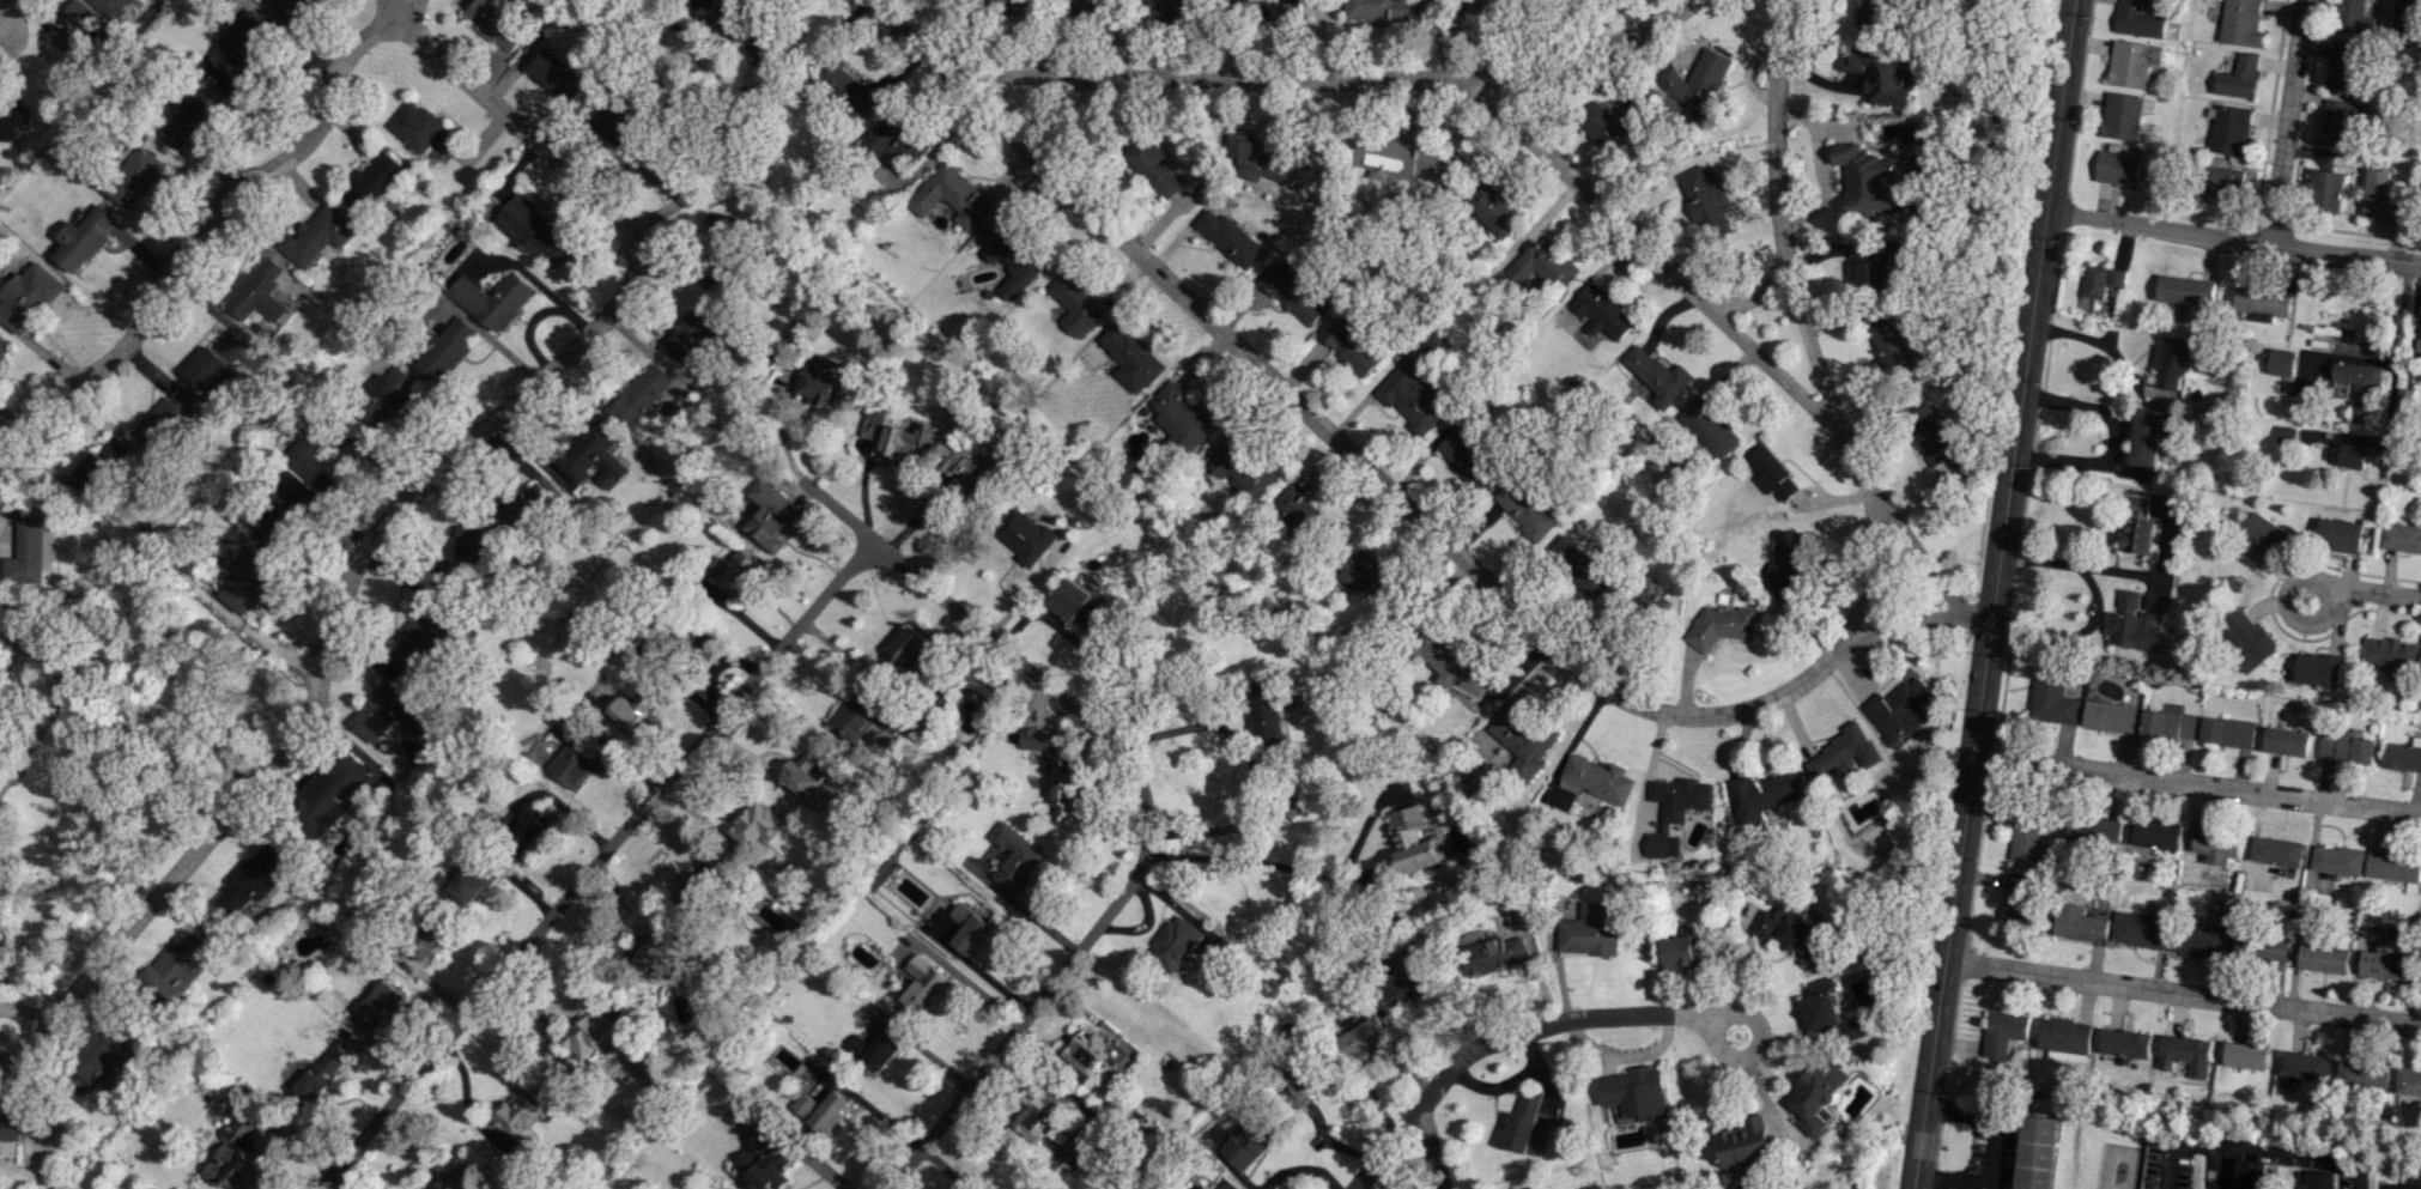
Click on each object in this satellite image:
road: (872, 2)
building: (1491, 4)
building: (1090, 5)
building: (1024, 6)
building: (111, 7)
building: (291, 7)
building: (1275, 8)
building: (1381, 8)
building: (1176, 10)
road: (10, 12)
building: (733, 14)
building: (2356, 16)
building: (2407, 16)
building: (1871, 18)
building: (2137, 20)
building: (496, 23)
building: (2241, 23)
building: (77, 26)
building: (243, 43)
building: (764, 49)
building: (2132, 62)
building: (2343, 66)
building: (557, 74)
road: (1328, 77)
building: (1881, 78)
building: (2239, 78)
building: (1694, 81)
building: (848, 89)
building: (2124, 115)
building: (194, 119)
building: (12, 120)
road: (512, 120)
building: (2340, 120)
building: (1609, 121)
road: (2287, 121)
building: (423, 129)
building: (2231, 129)
building: (897, 138)
building: (1254, 157)
building: (1403, 160)
building: (1152, 165)
building: (2117, 166)
building: (135, 177)
building: (1869, 181)
building: (2222, 181)
building: (371, 183)
building: (2328, 190)
building: (952, 196)
building: (2381, 198)
building: (1704, 200)
building: (1492, 210)
road: (208, 218)
building: (721, 226)
building: (535, 232)
building: (317, 236)
road: (2231, 237)
building: (85, 238)
building: (1230, 238)
road: (1844, 247)
road: (1650, 253)
building: (1015, 261)
building: (1537, 266)
building: (1871, 269)
building: (2101, 280)
building: (2184, 291)
building: (259, 292)
building: (1294, 293)
road: (1753, 295)
building: (30, 297)
building: (492, 298)
building: (2261, 304)
building: (1078, 307)
building: (1601, 313)
road: (1802, 324)
building: (2419, 338)
building: (692, 340)
road: (2104, 342)
building: (229, 344)
building: (1353, 346)
building: (1892, 346)
building: (444, 350)
road: (2397, 356)
building: (1133, 358)
building: (2172, 360)
building: (2281, 362)
building: (212, 371)
building: (1655, 374)
building: (818, 381)
building: (2355, 384)
building: (639, 394)
building: (1412, 398)
building: (2404, 398)
building: (386, 399)
building: (1183, 414)
building: (168, 418)
building: (875, 421)
building: (1706, 426)
building: (1929, 433)
building: (2147, 437)
road: (2116, 438)
building: (909, 439)
building: (114, 448)
building: (1230, 451)
building: (2349, 456)
building: (311, 457)
building: (1464, 457)
building: (589, 460)
building: (969, 468)
road: (10, 472)
building: (93, 473)
building: (1771, 474)
building: (1255, 478)
road: (1389, 484)
building: (526, 505)
road: (839, 511)
building: (1524, 511)
building: (1298, 512)
building: (771, 515)
building: (289, 520)
building: (2138, 527)
building: (2338, 535)
building: (1027, 536)
building: (2401, 538)
building: (2263, 539)
building: (28, 554)
building: (461, 554)
building: (1784, 563)
building: (1578, 565)
road: (2079, 568)
building: (735, 570)
road: (1867, 570)
road: (2305, 575)
building: (1363, 576)
building: (248, 582)
road: (1991, 594)
road: (2377, 595)
building: (1076, 602)
building: (1722, 624)
building: (2131, 624)
road: (332, 626)
building: (419, 639)
road: (1072, 639)
building: (2251, 641)
building: (904, 645)
building: (2391, 653)
building: (2319, 669)
building: (2051, 698)
road: (736, 702)
park: (103, 703)
road: (53, 704)
building: (1900, 709)
building: (631, 710)
building: (1264, 711)
building: (388, 714)
building: (2108, 716)
building: (2167, 723)
road: (17, 729)
building: (2227, 732)
building: (1522, 740)
building: (2286, 741)
building: (2346, 748)
building: (1839, 751)
building: (2402, 756)
building: (577, 763)
building: (1054, 770)
building: (806, 772)
road: (1255, 774)
building: (1597, 777)
road: (2196, 785)
building: (329, 793)
building: (1764, 794)
building: (1674, 808)
building: (534, 823)
building: (757, 824)
building: (2094, 829)
building: (2158, 835)
building: (2025, 838)
building: (1415, 841)
building: (2217, 844)
building: (2277, 851)
building: (1014, 859)
building: (2337, 860)
road: (1255, 867)
building: (2393, 867)
building: (251, 879)
building: (468, 884)
building: (699, 888)
building: (2019, 899)
road: (1024, 909)
building: (2079, 923)
building: (2143, 928)
building: (967, 929)
building: (1589, 930)
building: (1790, 930)
building: (791, 935)
building: (429, 936)
building: (2202, 941)
building: (1172, 944)
building: (2262, 947)
building: (655, 950)
building: (1686, 950)
building: (1493, 954)
building: (2387, 957)
building: (2324, 958)
building: (176, 969)
building: (1407, 983)
building: (920, 984)
road: (2182, 995)
building: (1821, 1005)
building: (378, 1006)
road: (1622, 1014)
road: (1013, 1021)
building: (1858, 1027)
road: (32, 1031)
building: (589, 1031)
building: (2004, 1032)
building: (1361, 1037)
building: (2065, 1038)
building: (2124, 1043)
building: (881, 1051)
building: (1090, 1051)
building: (2183, 1056)
building: (2244, 1056)
building: (95, 1064)
building: (2304, 1066)
building: (323, 1072)
building: (2361, 1074)
building: (2408, 1082)
building: (1299, 1086)
building: (1636, 1093)
building: (1818, 1097)
building: (220, 1103)
road: (868, 1108)
building: (823, 1110)
building: (520, 1112)
building: (1037, 1117)
building: (1523, 1124)
building: (14, 1130)
building: (1245, 1141)
building: (1745, 1143)
road: (2179, 1143)
road: (1384, 1148)
road: (1427, 1148)
building: (239, 1151)
road: (797, 1151)
road: (1991, 1151)
building: (2037, 1152)
road: (2282, 1152)
building: (765, 1163)
road: (946, 1166)
building: (2250, 1175)
building: (457, 1179)
road: (340, 1181)
building: (2323, 1181)
building: (1200, 1187)
building: (1531, 1188)

